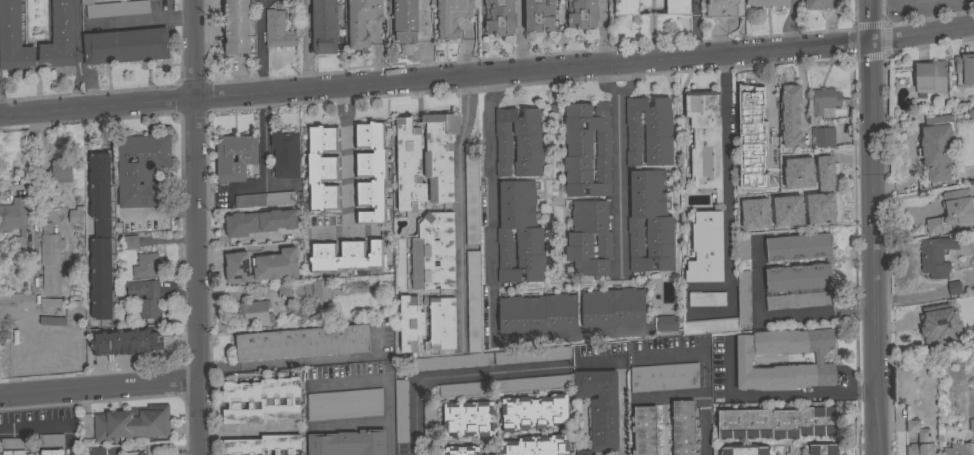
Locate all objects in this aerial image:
road: (964, 2)
building: (767, 3)
building: (818, 4)
road: (939, 4)
parking lot: (917, 6)
building: (677, 7)
building: (115, 8)
building: (626, 8)
road: (936, 8)
building: (722, 9)
building: (582, 14)
building: (539, 15)
building: (452, 17)
building: (499, 17)
road: (137, 18)
building: (362, 21)
building: (405, 21)
road: (829, 22)
road: (927, 22)
road: (795, 25)
building: (324, 26)
building: (236, 28)
road: (695, 29)
building: (277, 30)
road: (603, 32)
road: (519, 36)
building: (60, 37)
building: (13, 39)
road: (424, 40)
road: (305, 45)
building: (126, 46)
road: (260, 47)
road: (77, 55)
building: (965, 68)
road: (487, 74)
building: (930, 77)
building: (824, 100)
building: (756, 107)
building: (971, 116)
building: (790, 117)
building: (649, 132)
building: (766, 137)
building: (823, 137)
building: (705, 140)
road: (262, 141)
building: (518, 142)
building: (937, 147)
building: (587, 149)
building: (286, 154)
building: (247, 158)
road: (344, 158)
building: (424, 159)
road: (619, 161)
building: (794, 162)
building: (819, 166)
building: (321, 168)
building: (61, 171)
building: (143, 171)
building: (371, 173)
road: (43, 177)
road: (727, 178)
building: (471, 193)
building: (264, 199)
building: (789, 200)
building: (749, 202)
road: (458, 209)
building: (952, 212)
building: (819, 214)
building: (75, 216)
road: (159, 217)
building: (276, 220)
building: (15, 223)
building: (649, 223)
building: (240, 224)
road: (198, 227)
road: (870, 227)
road: (492, 230)
building: (519, 233)
building: (100, 236)
building: (589, 239)
building: (131, 242)
building: (743, 247)
building: (706, 248)
building: (433, 253)
building: (345, 256)
building: (936, 256)
building: (50, 260)
building: (147, 265)
building: (261, 266)
building: (798, 271)
building: (954, 287)
building: (297, 289)
building: (284, 290)
building: (317, 290)
building: (743, 295)
building: (145, 299)
building: (706, 299)
building: (16, 301)
building: (473, 302)
building: (52, 303)
building: (613, 307)
building: (74, 309)
building: (322, 310)
building: (300, 311)
building: (252, 312)
building: (538, 314)
road: (777, 315)
building: (52, 320)
building: (441, 323)
building: (666, 323)
building: (410, 324)
building: (939, 324)
building: (637, 331)
building: (126, 342)
building: (302, 343)
road: (690, 353)
building: (744, 358)
road: (303, 361)
building: (449, 362)
road: (457, 377)
building: (664, 378)
road: (386, 379)
building: (533, 384)
road: (621, 386)
road: (100, 388)
building: (463, 389)
road: (772, 394)
road: (668, 396)
building: (261, 400)
building: (344, 404)
building: (600, 408)
building: (401, 411)
building: (534, 412)
building: (468, 419)
building: (777, 422)
building: (132, 423)
road: (351, 423)
road: (704, 424)
building: (429, 425)
building: (971, 425)
building: (684, 427)
road: (47, 430)
building: (644, 431)
building: (918, 439)
building: (51, 440)
building: (348, 443)
building: (263, 445)
building: (13, 446)
building: (536, 446)
building: (823, 449)
building: (959, 449)
building: (112, 450)
building: (97, 451)
building: (460, 451)
building: (744, 451)
building: (52, 452)
building: (135, 453)

